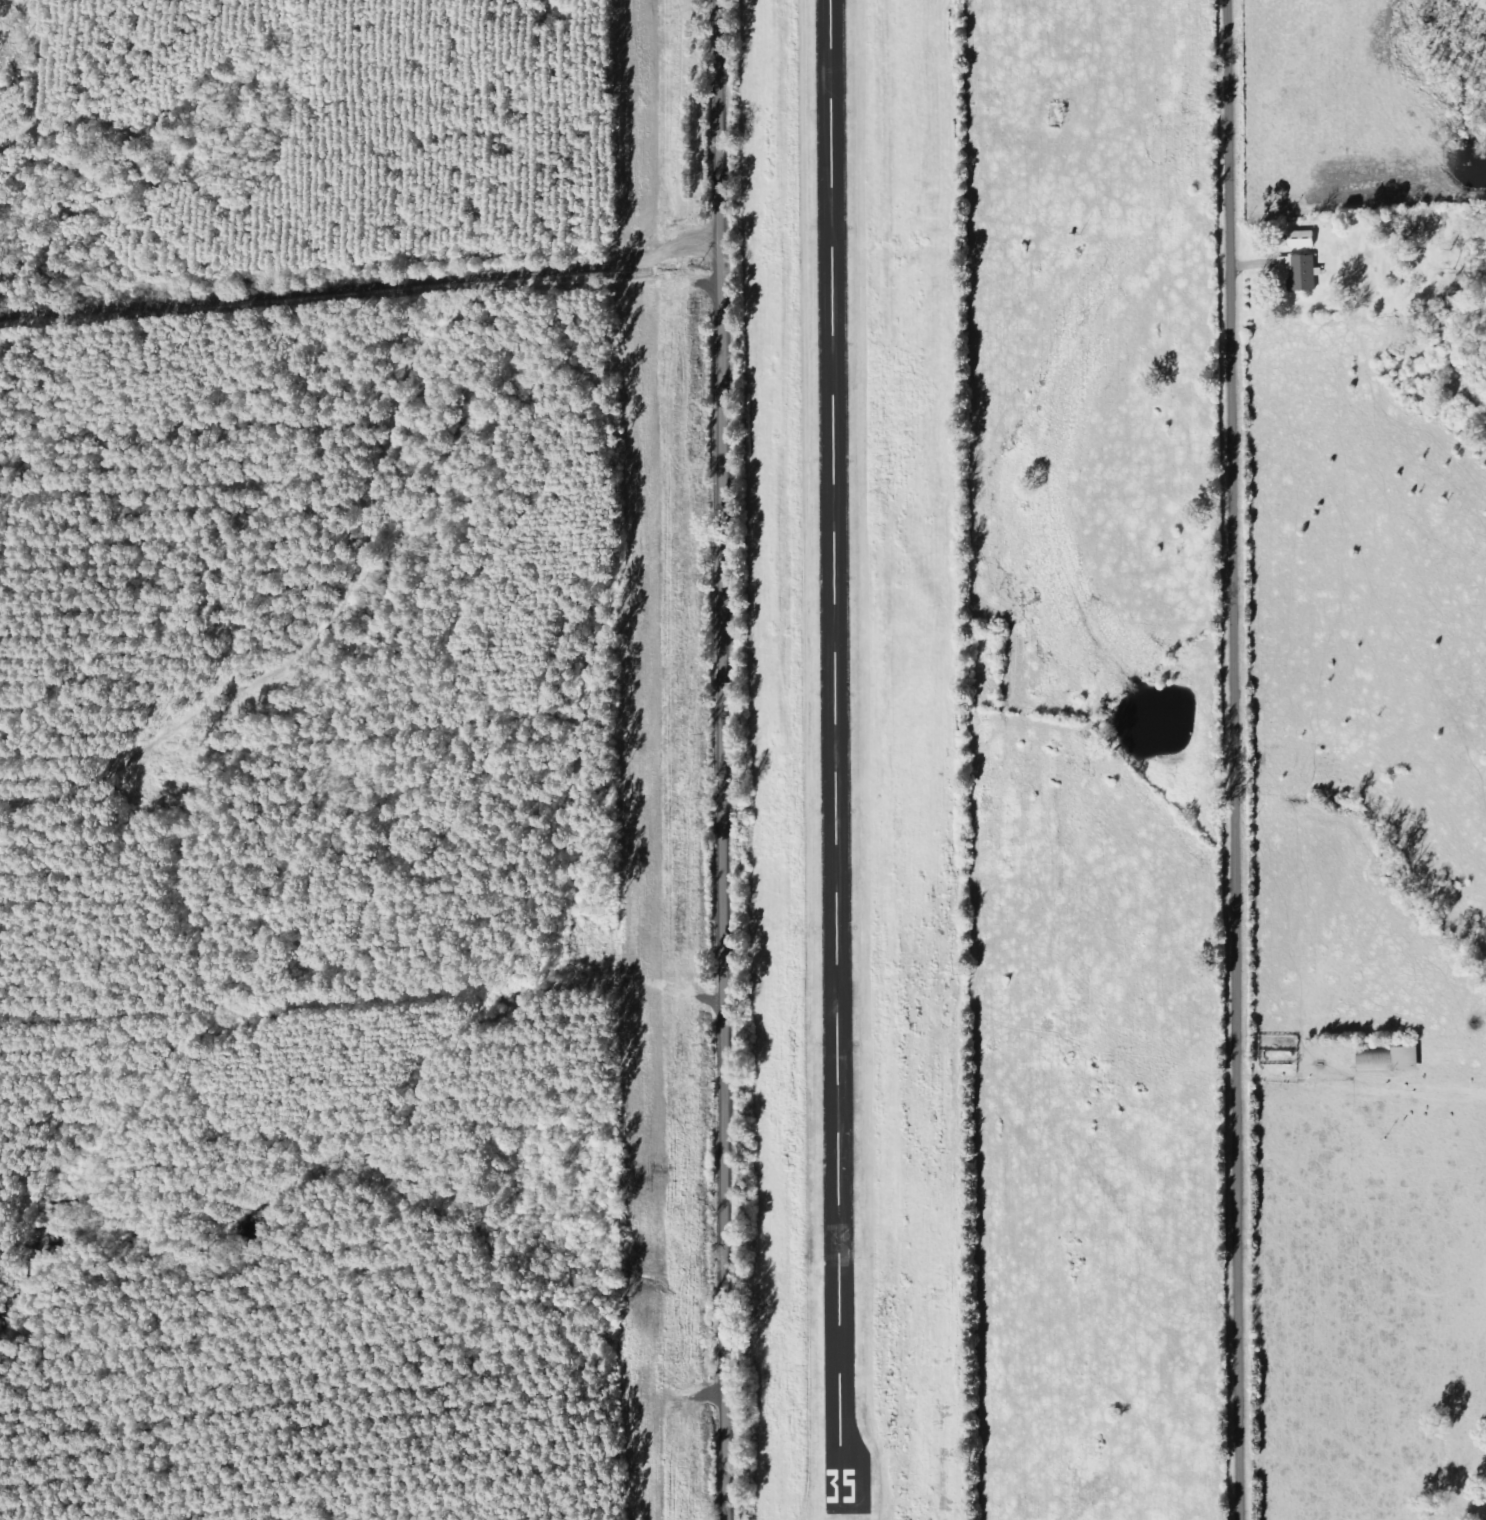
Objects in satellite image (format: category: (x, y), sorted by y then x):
building: (1302, 240)
road: (729, 759)
road: (1255, 760)
building: (1390, 1061)

